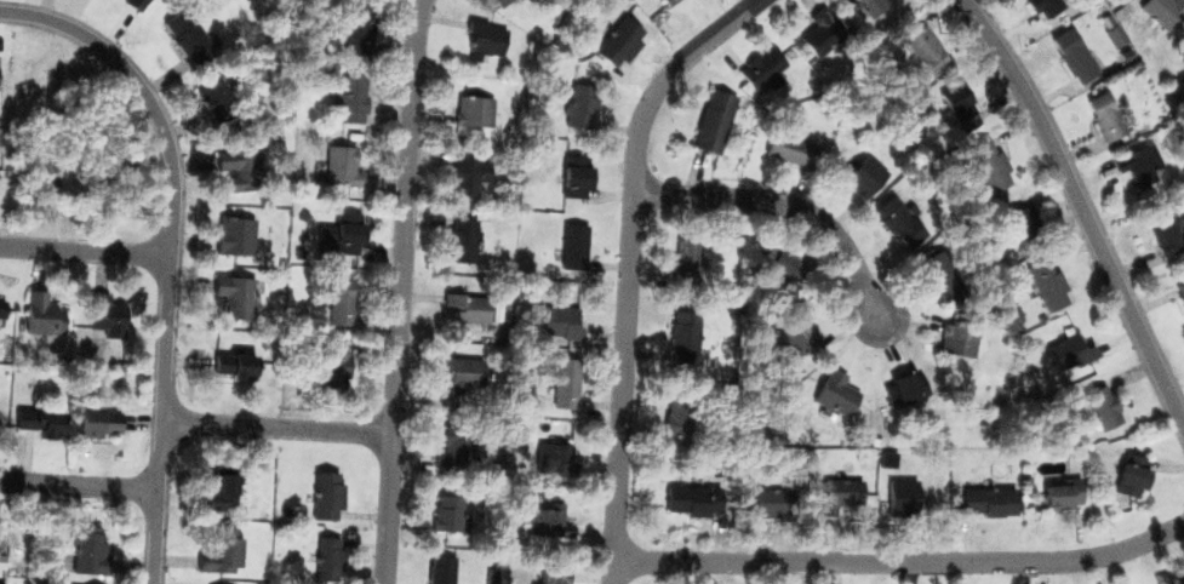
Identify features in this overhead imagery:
building: (866, 0)
building: (671, 1)
building: (133, 2)
building: (502, 2)
building: (1041, 5)
building: (1160, 8)
building: (810, 18)
building: (354, 24)
building: (484, 27)
building: (179, 30)
building: (823, 30)
building: (1112, 34)
building: (617, 35)
building: (922, 36)
building: (766, 52)
building: (1074, 56)
building: (763, 67)
building: (717, 93)
building: (963, 97)
building: (348, 98)
building: (212, 99)
building: (470, 101)
building: (577, 104)
building: (1104, 115)
building: (709, 132)
building: (797, 132)
building: (793, 149)
building: (991, 153)
building: (1149, 154)
building: (465, 159)
building: (863, 159)
building: (339, 165)
building: (231, 166)
building: (572, 172)
building: (866, 176)
road: (784, 202)
building: (897, 205)
road: (1082, 205)
building: (1014, 216)
building: (900, 223)
building: (1173, 227)
building: (461, 228)
building: (231, 230)
building: (337, 234)
building: (570, 244)
road: (171, 245)
building: (687, 247)
road: (85, 254)
building: (787, 260)
road: (630, 265)
building: (937, 267)
building: (1049, 277)
road: (401, 291)
building: (1178, 291)
building: (231, 293)
building: (475, 294)
building: (339, 300)
building: (469, 308)
building: (2, 310)
building: (101, 310)
building: (40, 314)
building: (551, 314)
building: (795, 319)
building: (687, 326)
building: (957, 328)
building: (790, 337)
building: (1066, 342)
building: (461, 351)
building: (326, 359)
building: (233, 363)
building: (464, 372)
building: (562, 377)
building: (839, 377)
building: (905, 379)
building: (837, 394)
building: (1097, 402)
building: (682, 407)
building: (99, 419)
building: (38, 420)
building: (454, 424)
road: (279, 425)
building: (551, 441)
building: (454, 447)
building: (1131, 466)
building: (691, 485)
building: (839, 485)
building: (1063, 485)
building: (902, 486)
road: (79, 487)
building: (767, 488)
building: (989, 491)
building: (221, 493)
building: (325, 493)
building: (445, 500)
building: (694, 500)
building: (771, 503)
building: (545, 519)
building: (85, 546)
building: (224, 552)
building: (4, 559)
building: (328, 560)
road: (902, 562)
building: (441, 566)
building: (1179, 568)
building: (551, 578)
building: (0, 583)

